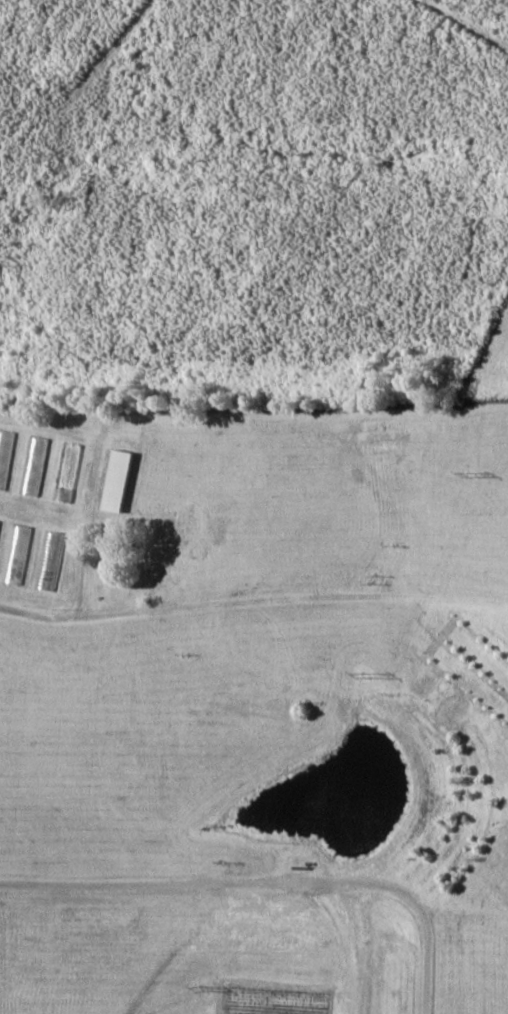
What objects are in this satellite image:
building: (33, 465)
building: (66, 471)
building: (117, 480)
building: (49, 560)
building: (15, 563)
road: (253, 600)
road: (276, 880)

